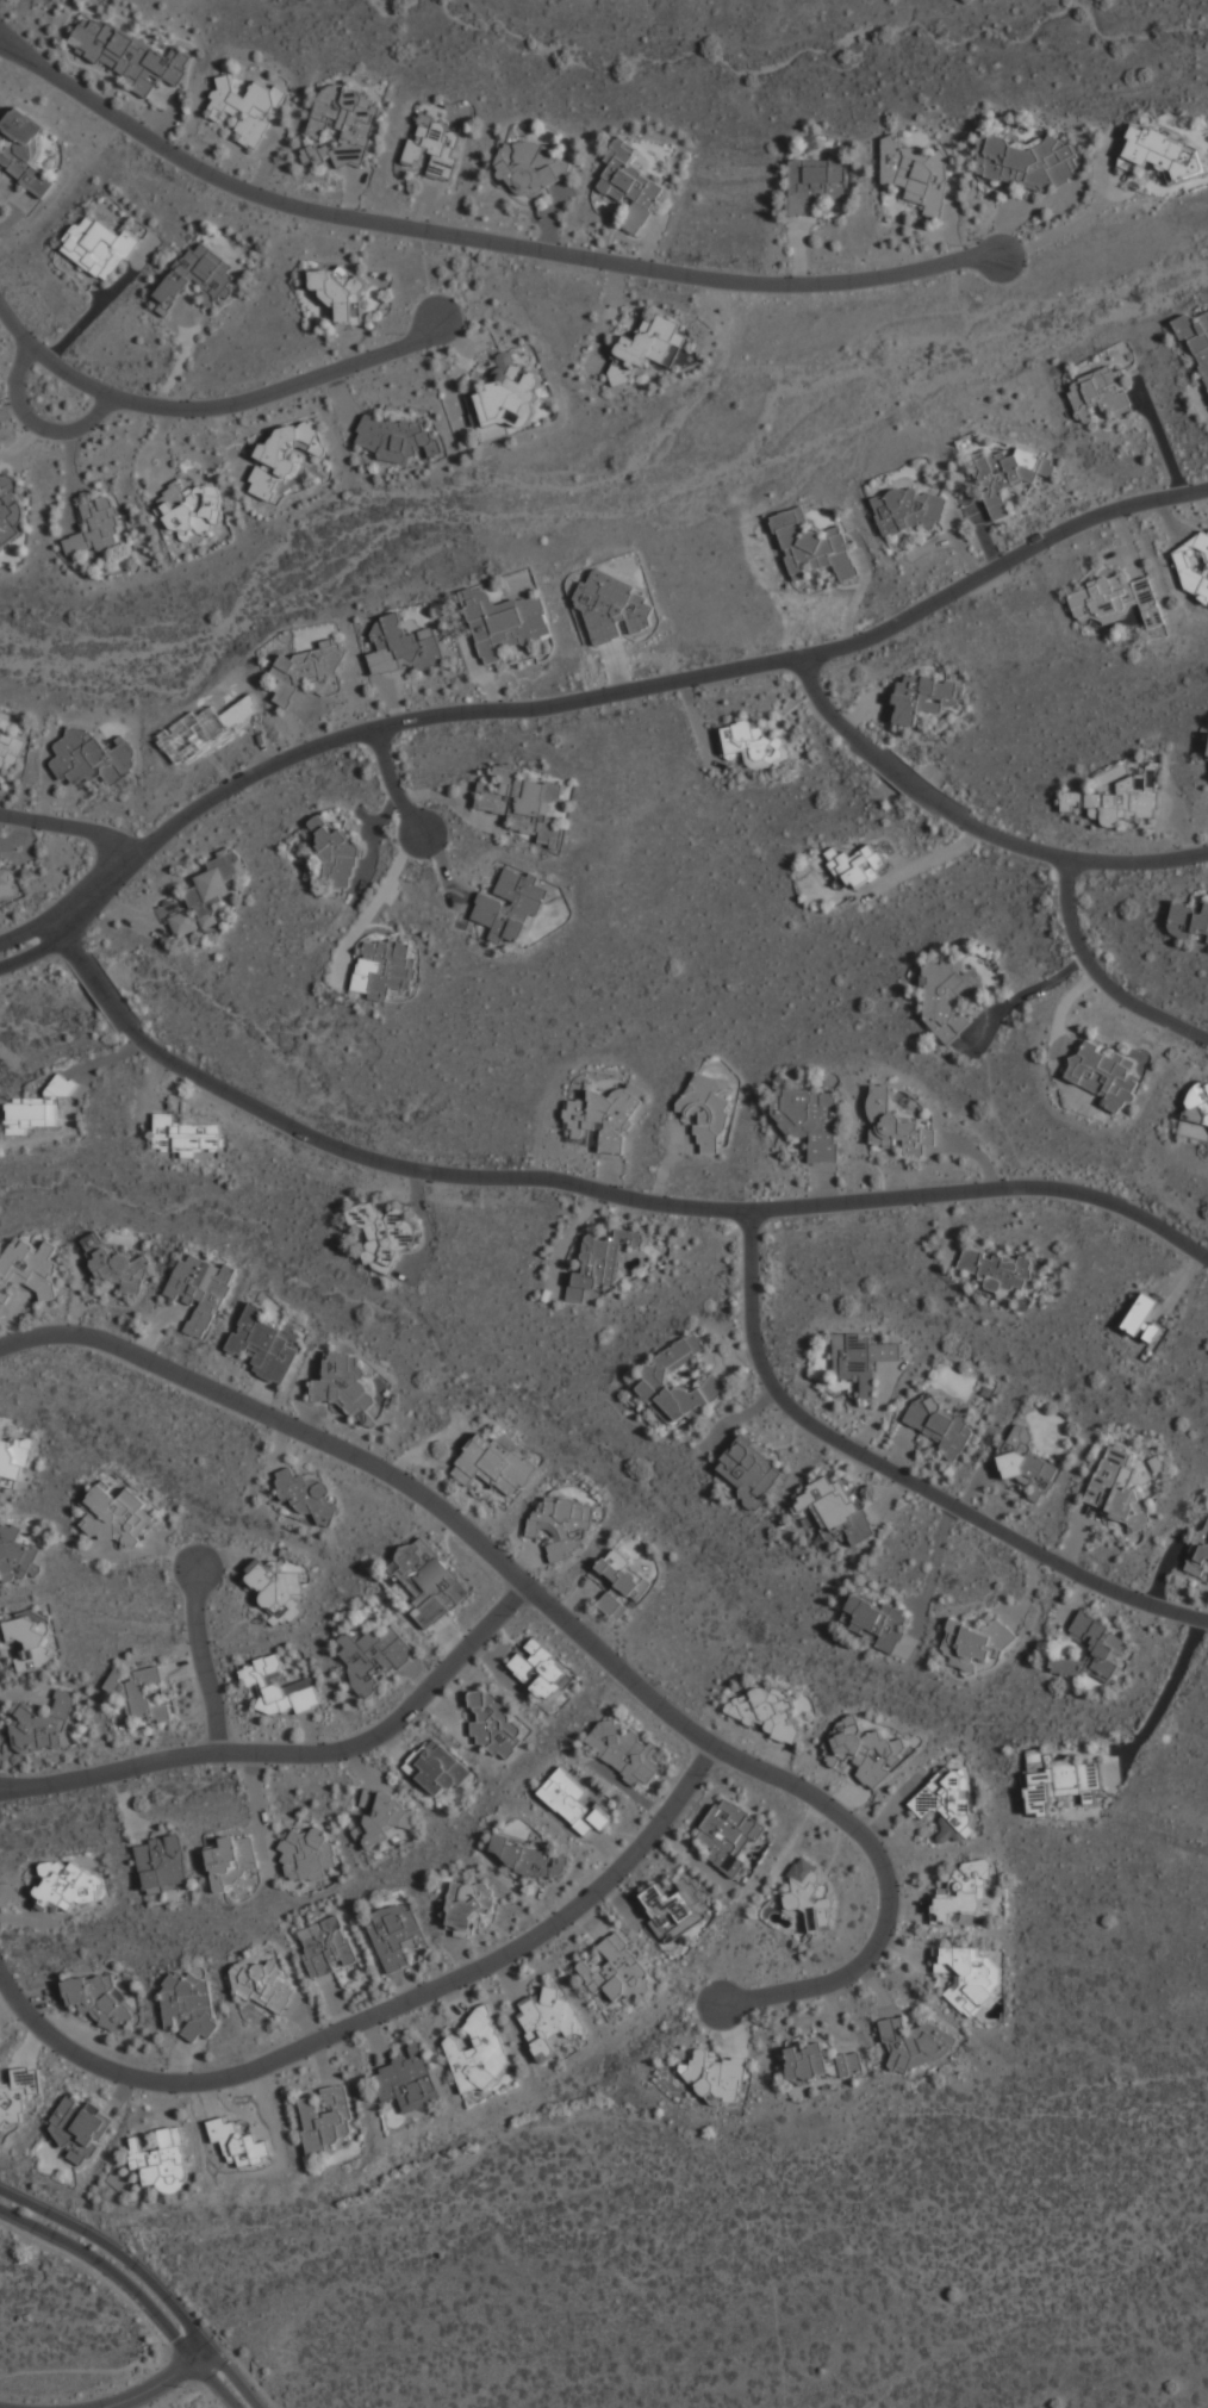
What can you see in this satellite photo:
building: (129, 55)
building: (248, 107)
building: (343, 124)
building: (434, 147)
building: (25, 149)
building: (1164, 154)
building: (1029, 163)
building: (536, 167)
building: (917, 175)
building: (816, 182)
building: (630, 185)
road: (1081, 222)
road: (480, 238)
building: (99, 247)
building: (199, 275)
building: (341, 293)
building: (1196, 340)
building: (653, 342)
building: (1102, 394)
building: (504, 396)
road: (213, 407)
road: (37, 425)
building: (391, 437)
building: (284, 455)
building: (1009, 475)
building: (8, 508)
building: (191, 509)
building: (910, 510)
building: (96, 527)
building: (814, 546)
building: (1194, 567)
building: (1119, 603)
building: (610, 606)
building: (505, 622)
building: (403, 646)
building: (306, 667)
road: (619, 692)
building: (923, 697)
building: (753, 745)
building: (11, 749)
building: (1207, 754)
building: (92, 758)
road: (393, 785)
building: (1116, 801)
building: (524, 803)
road: (70, 823)
road: (971, 823)
building: (332, 853)
building: (853, 865)
building: (6, 884)
building: (205, 895)
building: (511, 906)
building: (1189, 920)
road: (26, 933)
road: (35, 952)
building: (385, 966)
road: (44, 967)
road: (1102, 973)
building: (947, 997)
building: (1104, 1075)
building: (38, 1108)
building: (708, 1109)
building: (1195, 1114)
building: (610, 1116)
building: (811, 1120)
building: (897, 1125)
building: (185, 1134)
road: (597, 1189)
building: (384, 1228)
building: (602, 1262)
building: (118, 1264)
building: (29, 1268)
building: (996, 1268)
building: (201, 1290)
building: (1144, 1320)
building: (264, 1345)
building: (861, 1359)
building: (659, 1377)
building: (343, 1382)
building: (942, 1426)
building: (14, 1457)
building: (1027, 1464)
building: (494, 1466)
building: (751, 1471)
road: (903, 1473)
building: (1119, 1489)
building: (306, 1495)
building: (836, 1511)
building: (118, 1517)
building: (563, 1525)
building: (1200, 1554)
building: (18, 1555)
building: (425, 1582)
building: (618, 1583)
building: (276, 1592)
building: (876, 1620)
road: (567, 1625)
building: (30, 1639)
building: (977, 1639)
building: (1095, 1650)
building: (373, 1656)
road: (205, 1659)
building: (541, 1669)
building: (279, 1687)
building: (141, 1694)
building: (768, 1712)
building: (494, 1724)
building: (43, 1726)
road: (292, 1750)
building: (624, 1750)
building: (865, 1751)
building: (436, 1768)
building: (1058, 1780)
building: (575, 1803)
building: (948, 1805)
building: (386, 1818)
building: (729, 1835)
building: (307, 1855)
building: (530, 1858)
building: (232, 1861)
building: (163, 1862)
building: (70, 1886)
building: (964, 1892)
building: (809, 1894)
building: (467, 1903)
building: (674, 1908)
building: (397, 1936)
building: (328, 1947)
building: (617, 1971)
building: (969, 1979)
building: (263, 1985)
building: (99, 2001)
building: (189, 2004)
road: (381, 2014)
building: (549, 2022)
building: (913, 2041)
building: (479, 2053)
building: (820, 2064)
building: (717, 2077)
building: (407, 2082)
building: (17, 2093)
building: (326, 2120)
building: (80, 2129)
building: (161, 2161)
road: (93, 2273)
road: (145, 2277)
road: (133, 2289)
road: (199, 2351)
road: (253, 2378)
road: (195, 2379)
road: (150, 2388)
road: (174, 2394)
road: (204, 2394)

